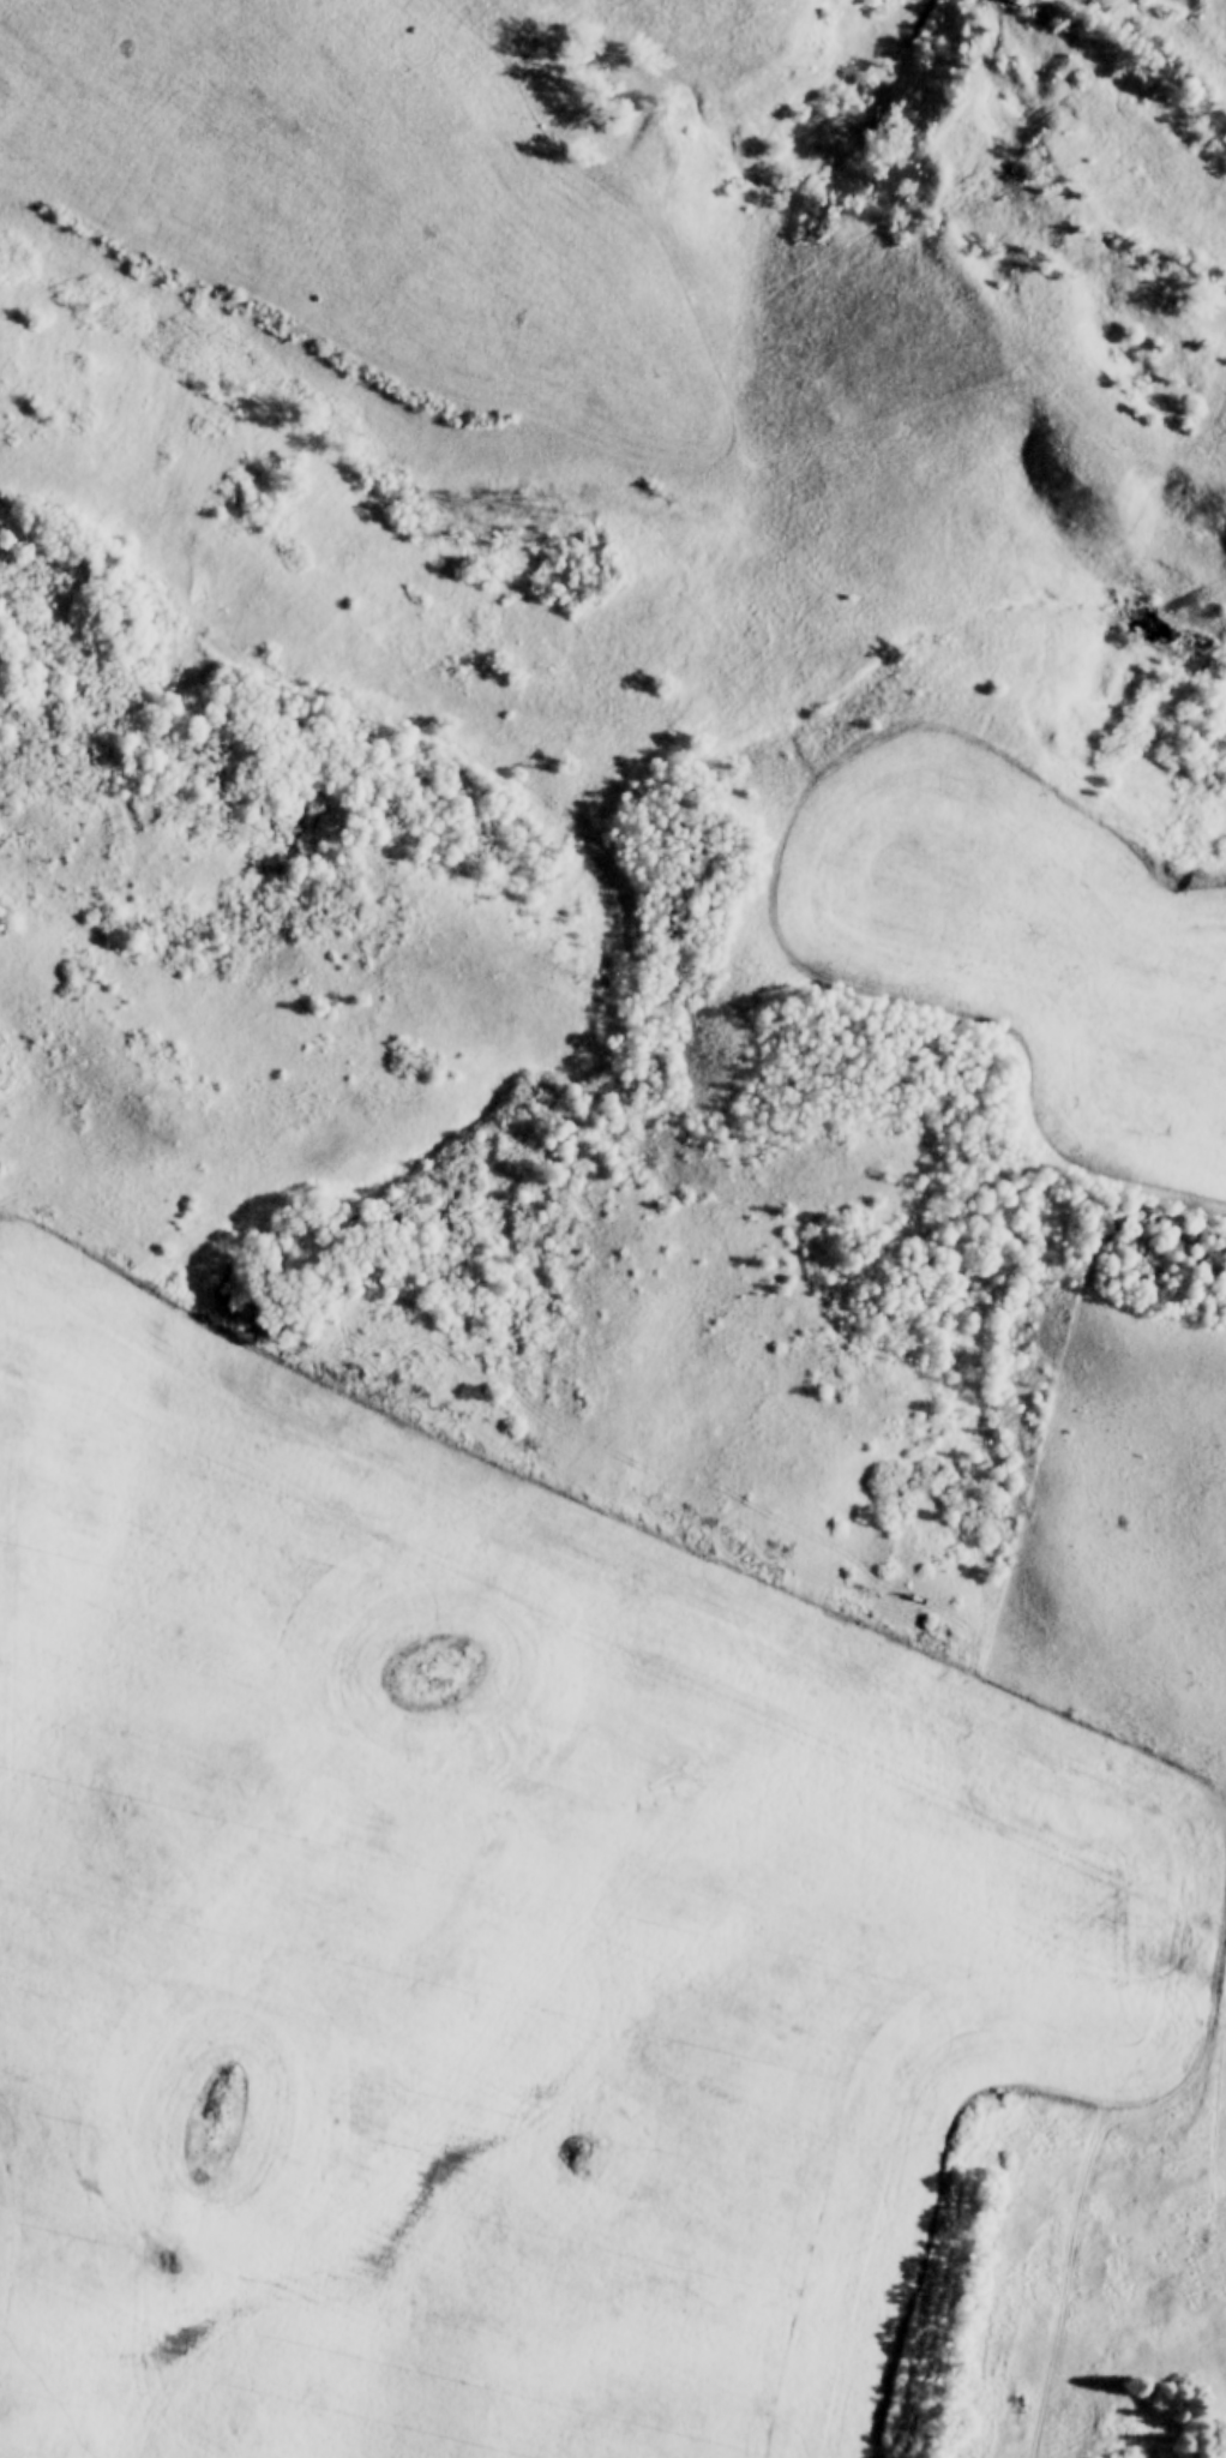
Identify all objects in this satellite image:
road: (884, 55)
quarry: (914, 193)
road: (1074, 2336)

